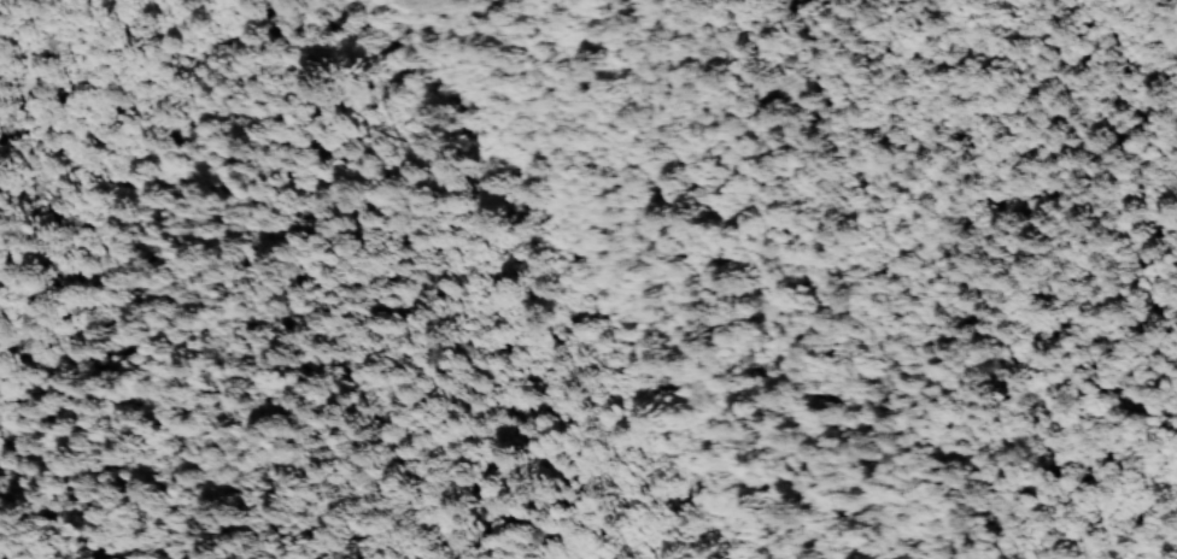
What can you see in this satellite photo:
road: (885, 475)

